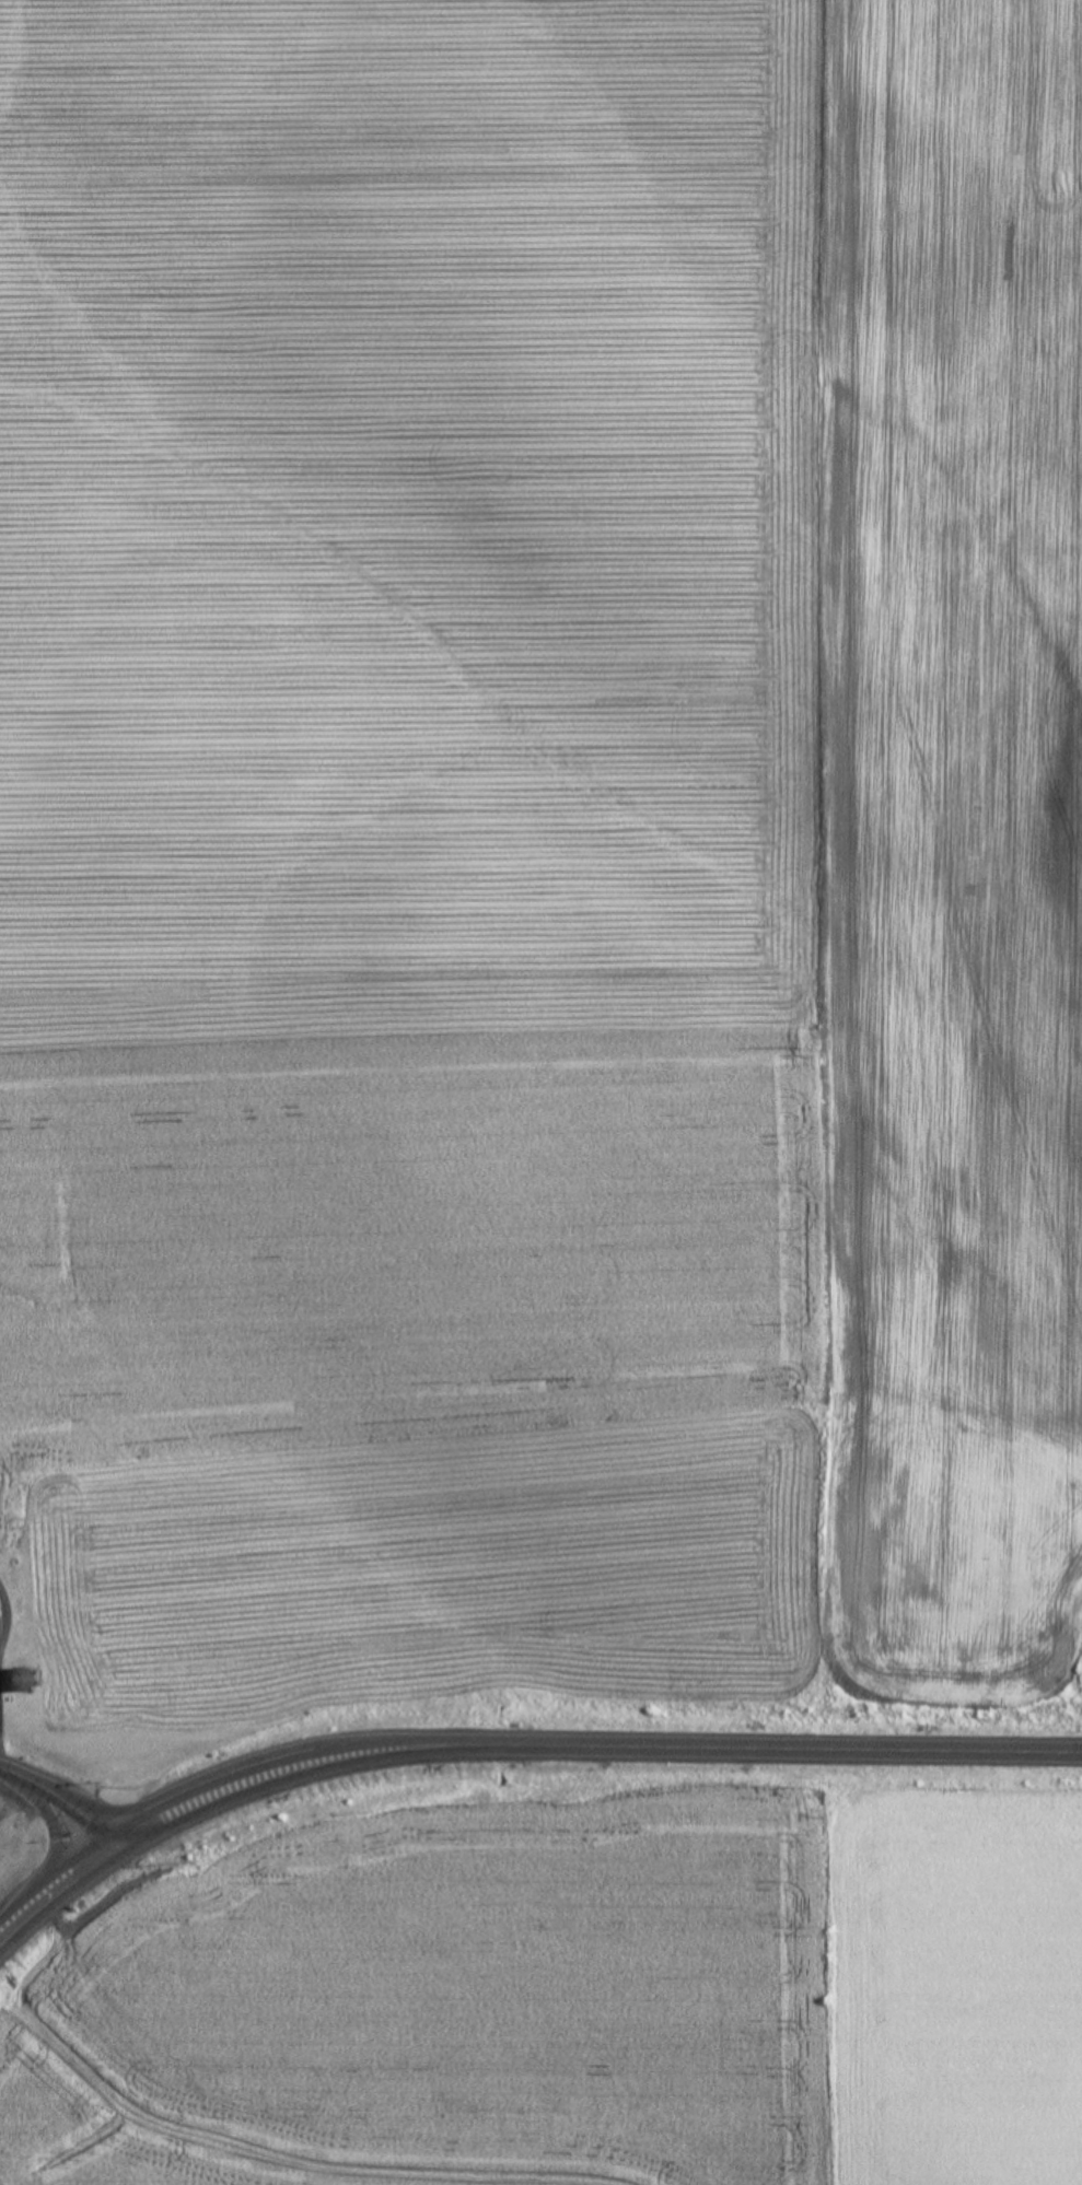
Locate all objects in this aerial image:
building: (18, 1682)
road: (587, 1745)
road: (58, 1801)
road: (54, 1883)

